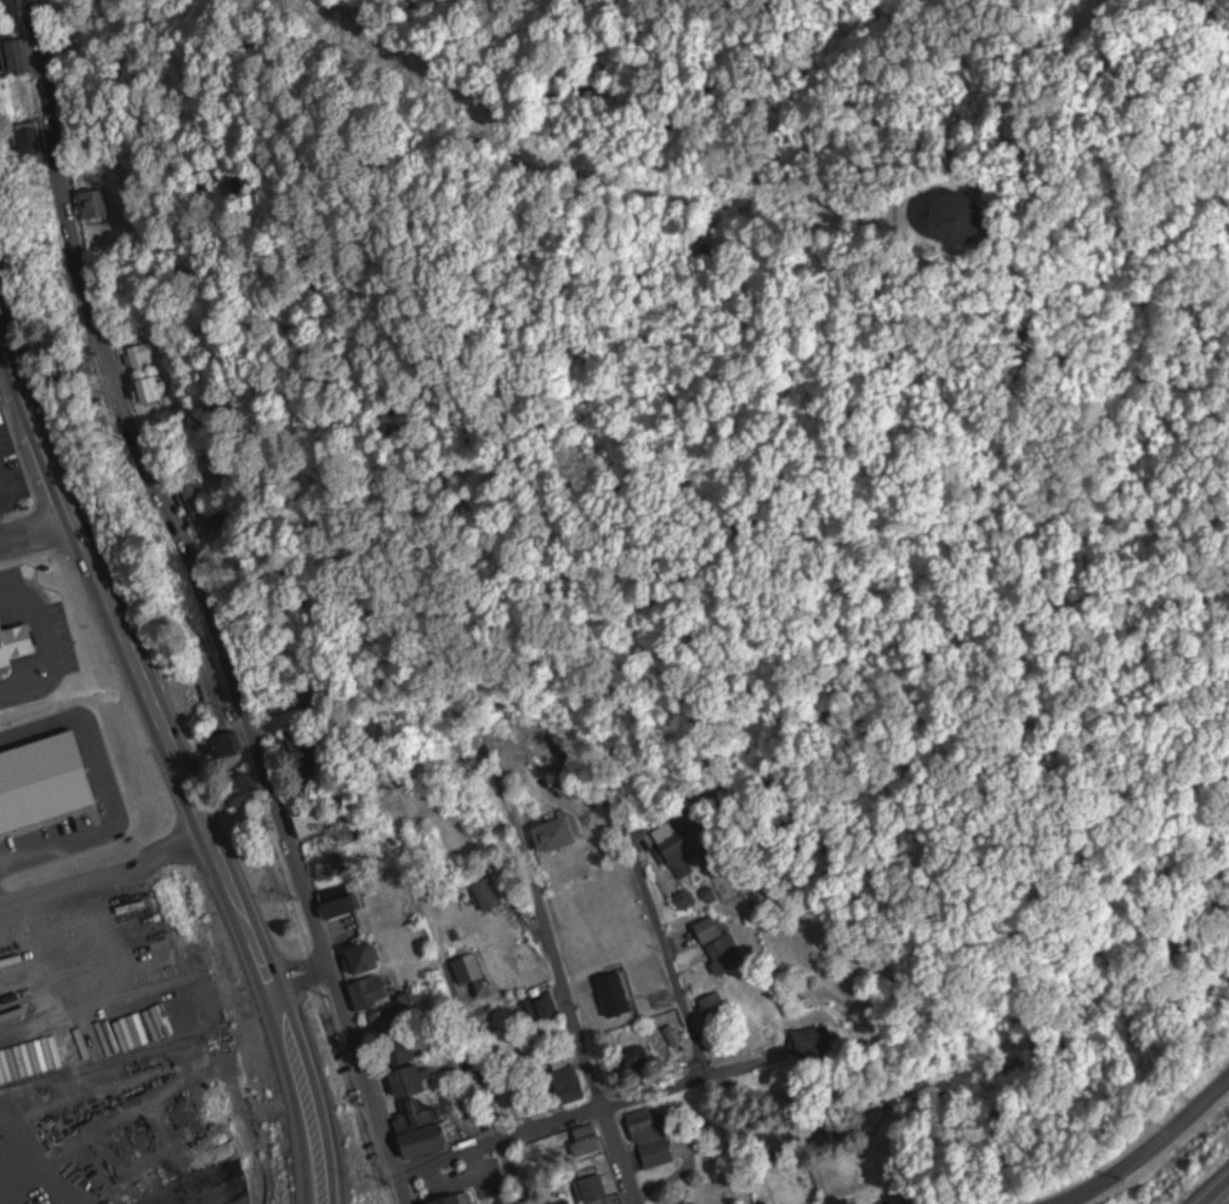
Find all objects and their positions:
building: (19, 53)
building: (969, 178)
storage tank: (969, 178)
building: (98, 203)
building: (962, 215)
road: (1043, 317)
building: (147, 354)
building: (153, 387)
road: (39, 529)
road: (206, 606)
building: (22, 629)
building: (303, 740)
building: (229, 743)
road: (177, 752)
road: (581, 756)
building: (246, 783)
building: (558, 831)
building: (683, 845)
building: (334, 865)
building: (343, 897)
building: (722, 943)
building: (368, 956)
road: (673, 958)
road: (303, 976)
building: (377, 988)
building: (544, 1005)
road: (574, 1012)
building: (609, 1015)
building: (402, 1033)
building: (812, 1039)
building: (639, 1060)
building: (416, 1079)
building: (573, 1083)
road: (49, 1095)
road: (592, 1114)
road: (497, 1119)
building: (426, 1132)
building: (655, 1136)
building: (592, 1137)
road: (1149, 1149)
parking lot: (38, 1159)
building: (597, 1186)
road: (1217, 1193)
building: (456, 1196)
building: (849, 1202)
building: (573, 1203)

